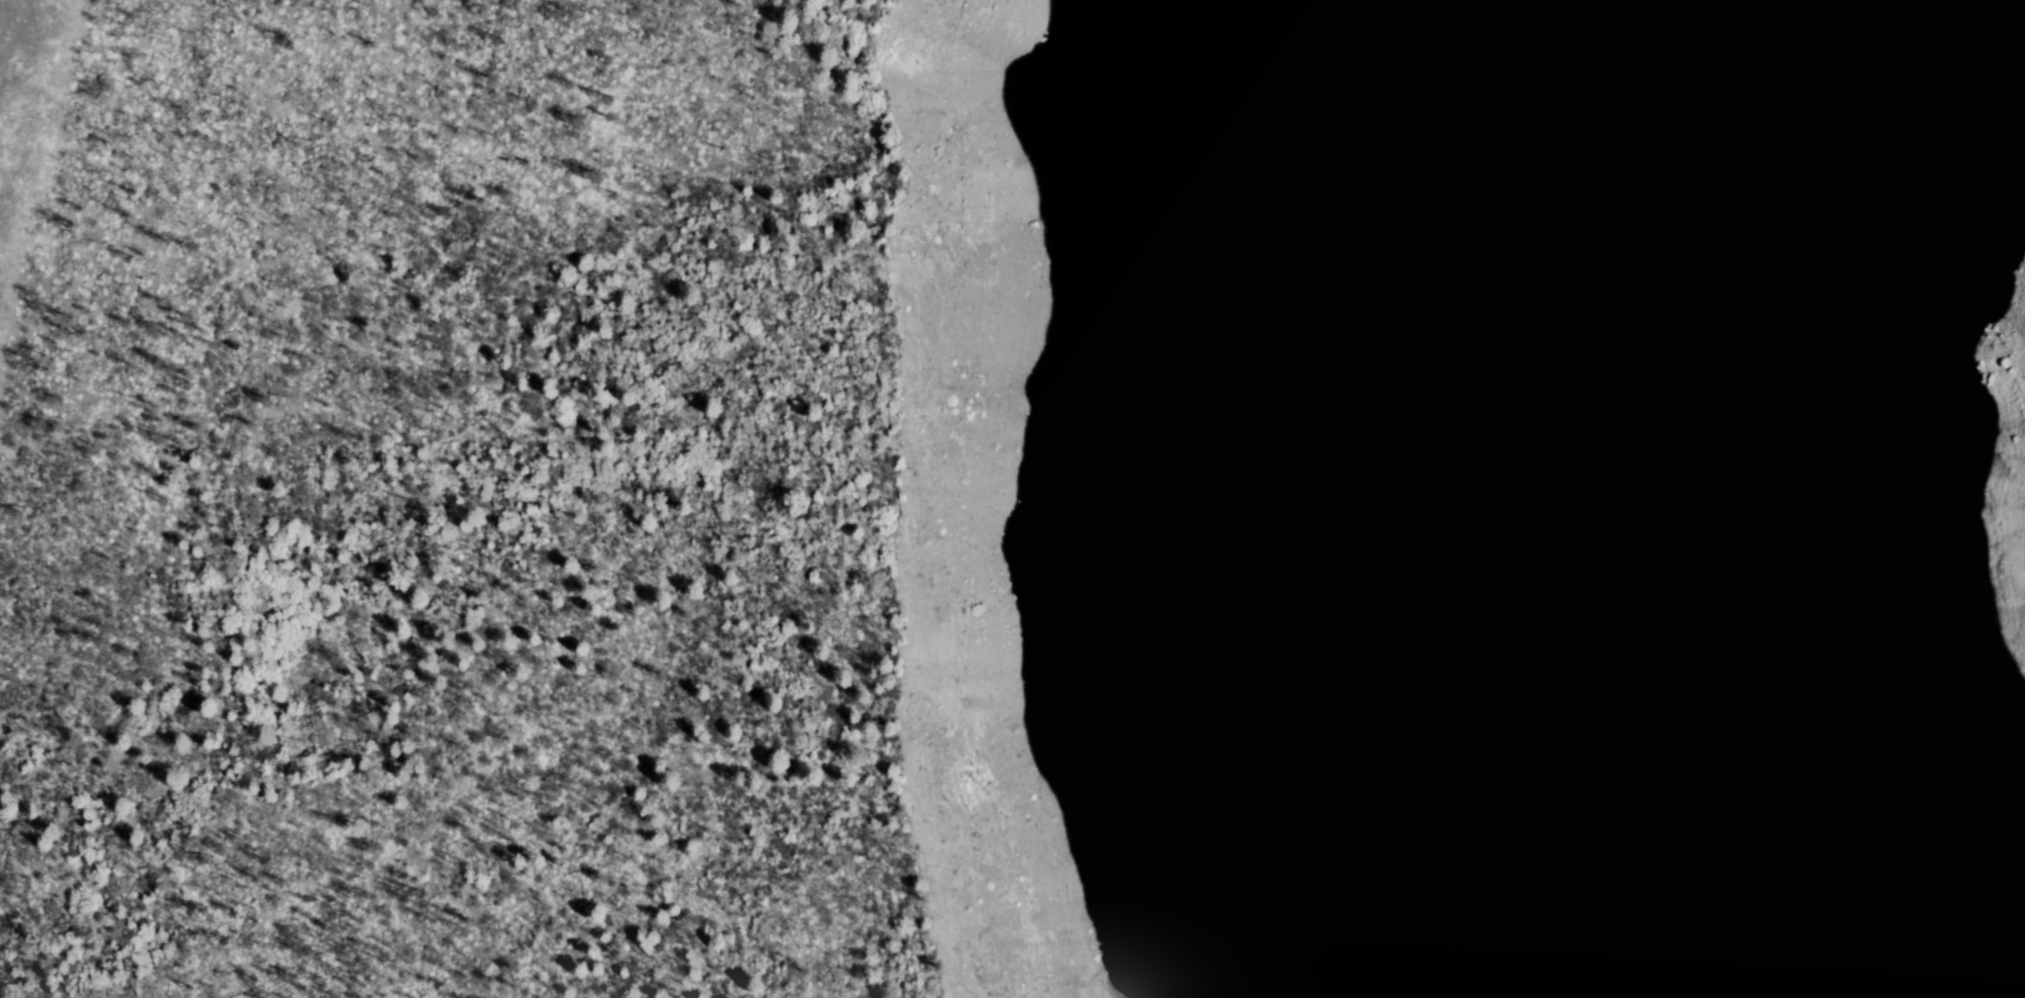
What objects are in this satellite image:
river: (1860, 487)

